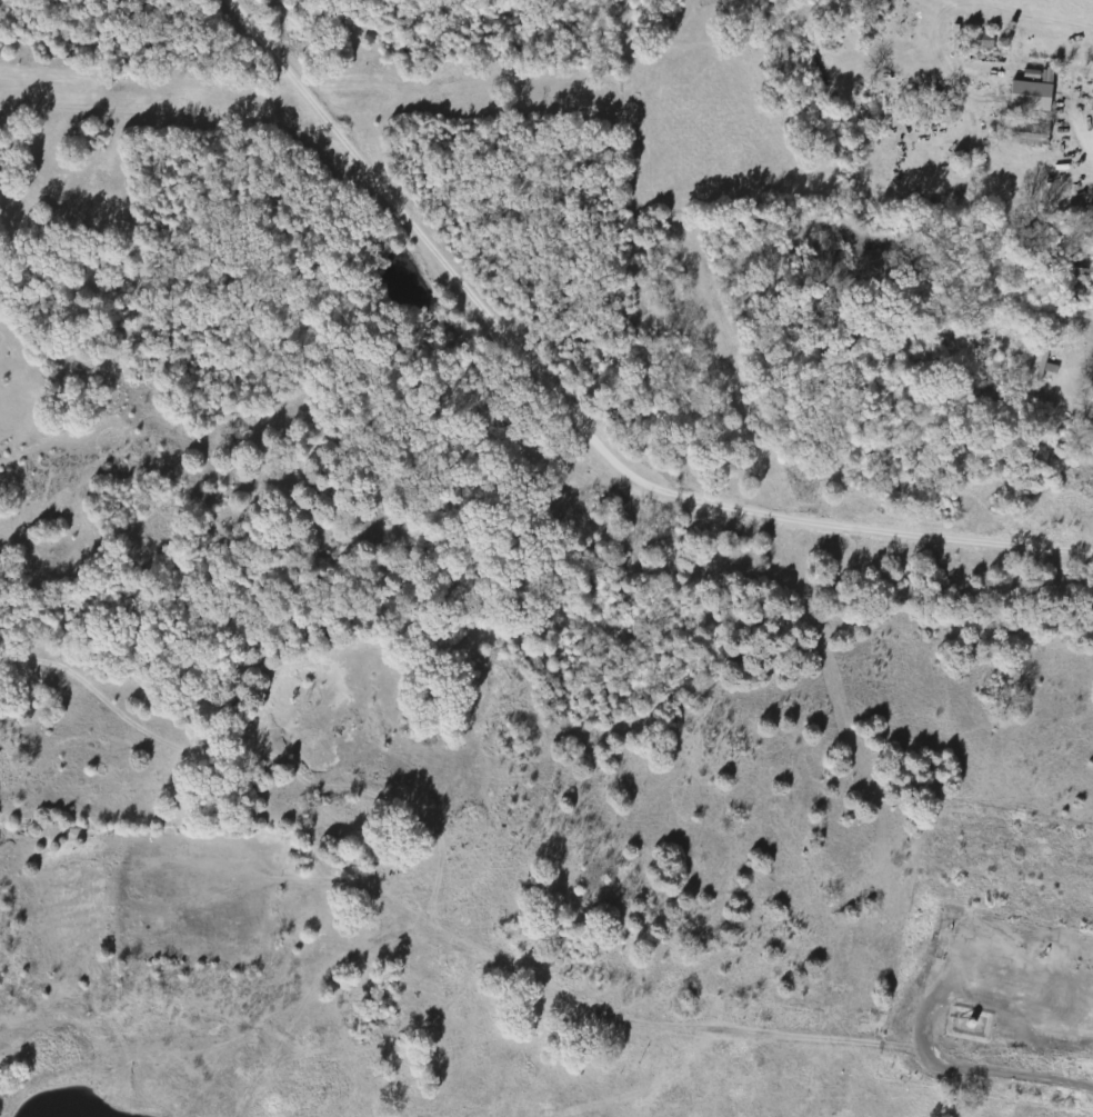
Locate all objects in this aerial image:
building: (1033, 93)
building: (1040, 365)

